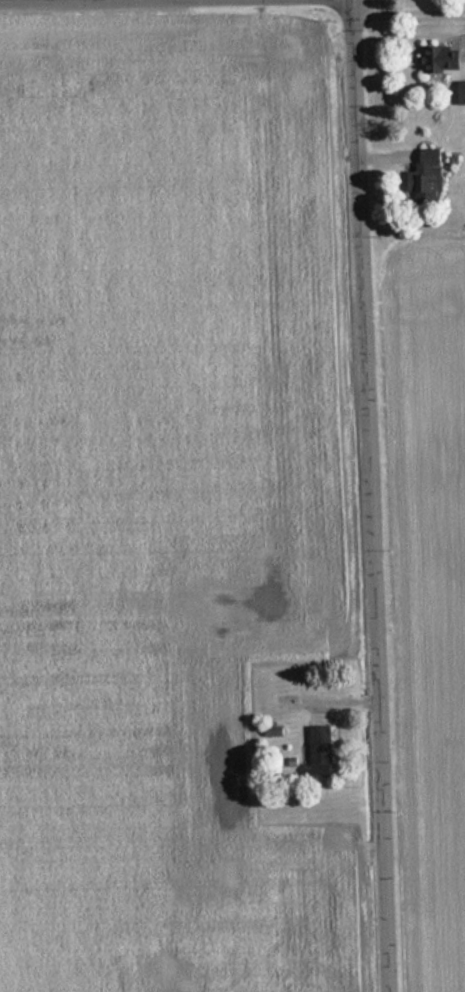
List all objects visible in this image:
road: (408, 14)
building: (438, 60)
building: (460, 92)
building: (423, 177)
road: (363, 496)
building: (315, 748)

